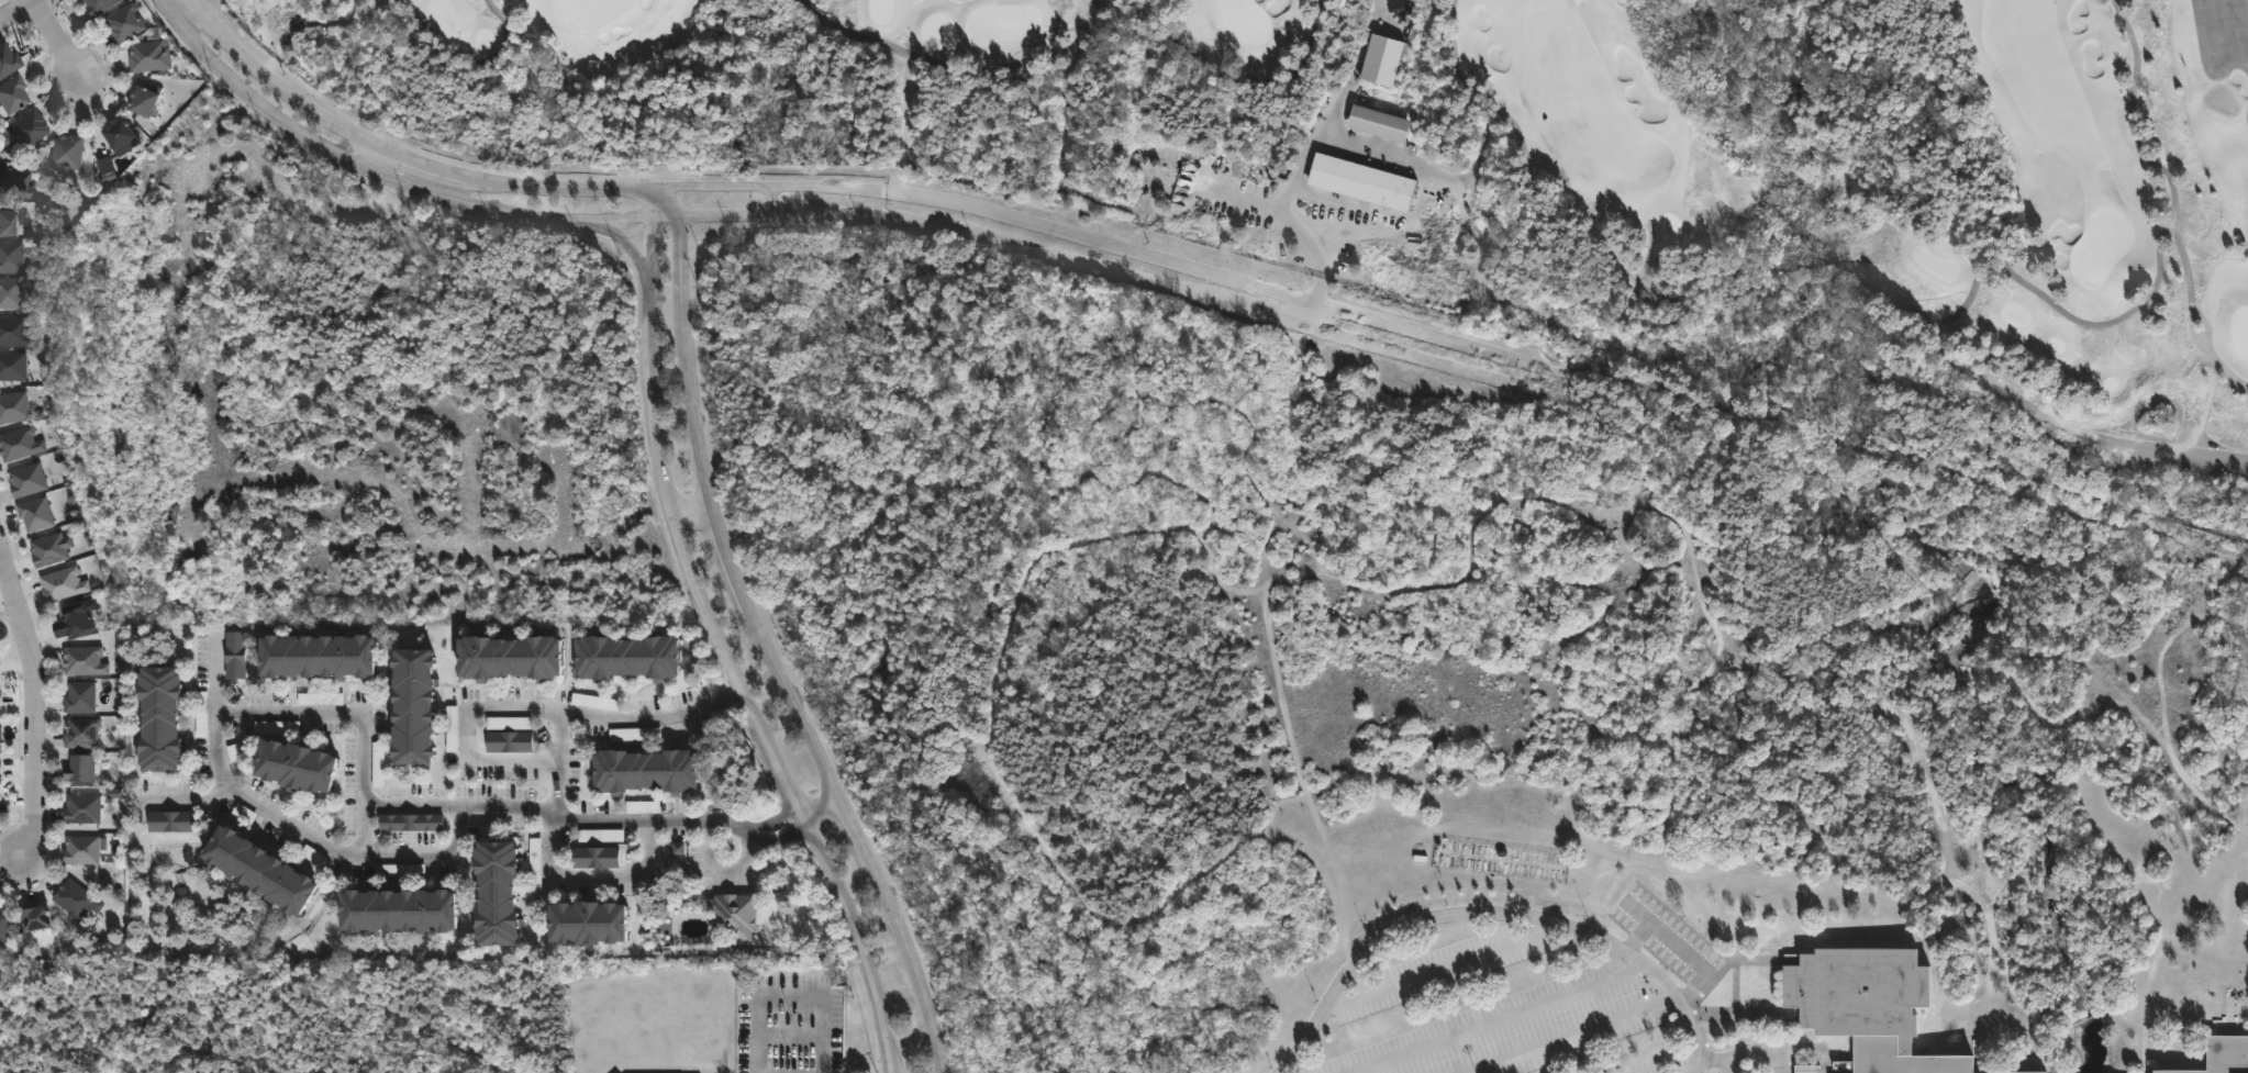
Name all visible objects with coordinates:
building: (98, 5)
park: (590, 10)
road: (18, 11)
park: (1245, 21)
building: (124, 22)
road: (56, 35)
road: (1087, 36)
building: (148, 56)
building: (7, 59)
building: (1381, 62)
road: (465, 65)
building: (10, 94)
building: (143, 100)
park: (2222, 101)
road: (1332, 105)
building: (1378, 125)
building: (27, 126)
building: (118, 135)
park: (1658, 149)
building: (66, 152)
road: (338, 157)
road: (369, 159)
road: (404, 163)
building: (1210, 164)
road: (1429, 171)
building: (1362, 181)
building: (15, 183)
road: (770, 203)
road: (1289, 220)
building: (7, 222)
road: (654, 235)
road: (709, 243)
park: (2099, 245)
road: (614, 246)
road: (688, 246)
road: (1123, 249)
road: (1648, 254)
building: (10, 257)
road: (1069, 258)
building: (10, 292)
road: (1903, 301)
road: (1313, 316)
building: (15, 332)
park: (2240, 332)
building: (12, 366)
building: (2012, 398)
building: (13, 407)
road: (2126, 429)
building: (19, 444)
building: (25, 480)
road: (1522, 500)
road: (695, 512)
building: (34, 514)
building: (48, 549)
building: (62, 584)
road: (1243, 593)
building: (73, 619)
building: (234, 655)
building: (315, 658)
building: (626, 658)
building: (508, 659)
building: (84, 661)
road: (745, 684)
road: (726, 691)
road: (798, 691)
road: (34, 696)
building: (79, 697)
road: (2157, 705)
road: (499, 706)
road: (988, 708)
building: (411, 709)
building: (157, 719)
road: (355, 719)
road: (637, 720)
building: (452, 730)
building: (81, 733)
building: (0, 736)
building: (508, 741)
road: (1291, 757)
building: (235, 762)
building: (292, 764)
building: (77, 768)
building: (1, 770)
building: (645, 771)
road: (187, 801)
road: (828, 804)
road: (418, 807)
building: (81, 808)
building: (170, 820)
building: (410, 821)
road: (752, 832)
building: (80, 848)
building: (594, 856)
road: (390, 857)
building: (1462, 865)
building: (256, 868)
road: (724, 871)
building: (1529, 872)
road: (597, 873)
building: (496, 891)
building: (75, 898)
building: (396, 908)
building: (733, 914)
road: (1494, 914)
building: (33, 917)
building: (586, 920)
building: (3, 921)
road: (1637, 939)
parking lot: (1670, 942)
road: (1680, 951)
road: (1760, 960)
road: (1447, 966)
road: (1735, 988)
road: (791, 996)
building: (1867, 1005)
parking lot: (1501, 1014)
road: (1741, 1017)
road: (1500, 1022)
road: (791, 1036)
road: (1570, 1036)
road: (1754, 1050)
building: (2224, 1054)
road: (1712, 1059)

